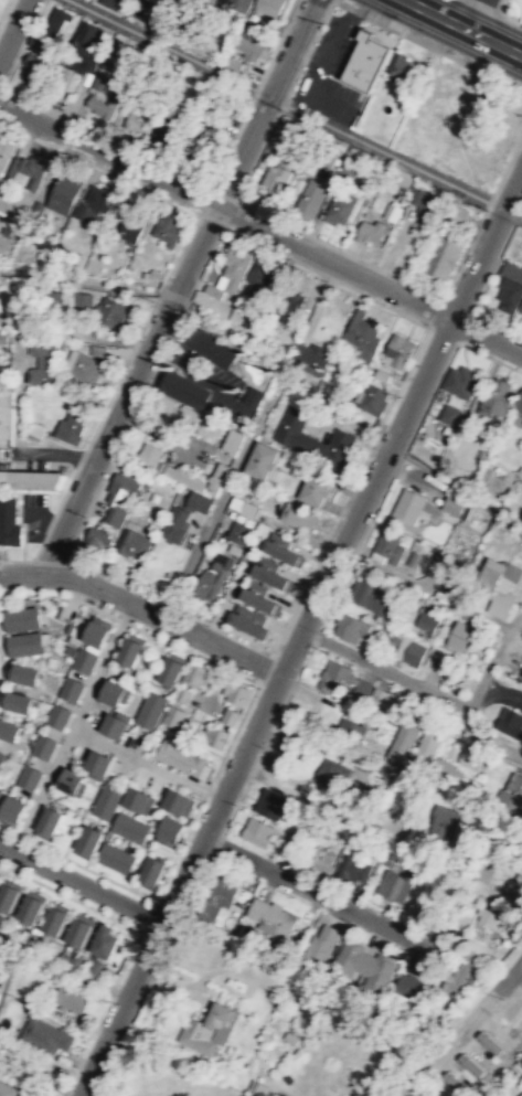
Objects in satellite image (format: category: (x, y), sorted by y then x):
building: (111, 3)
building: (241, 3)
building: (139, 6)
building: (269, 6)
road: (489, 8)
road: (502, 8)
road: (462, 11)
road: (483, 15)
building: (56, 20)
road: (513, 20)
road: (465, 26)
road: (13, 29)
building: (88, 31)
building: (38, 42)
building: (249, 47)
street lamp: (455, 53)
building: (367, 60)
building: (82, 61)
building: (234, 63)
building: (400, 65)
building: (35, 66)
building: (100, 81)
building: (104, 103)
road: (286, 104)
building: (139, 119)
building: (168, 131)
building: (202, 146)
building: (4, 151)
building: (33, 169)
building: (275, 179)
road: (512, 188)
building: (65, 191)
building: (312, 196)
building: (94, 203)
building: (424, 203)
building: (341, 208)
building: (391, 211)
road: (512, 213)
building: (132, 225)
building: (168, 227)
road: (260, 228)
building: (369, 230)
building: (440, 254)
building: (230, 274)
building: (260, 276)
road: (177, 286)
building: (508, 294)
building: (84, 299)
building: (288, 304)
building: (520, 308)
building: (111, 313)
building: (362, 340)
building: (212, 349)
building: (97, 350)
building: (397, 350)
building: (42, 362)
building: (313, 362)
building: (82, 368)
building: (381, 374)
building: (460, 381)
building: (184, 392)
building: (496, 395)
building: (371, 398)
building: (519, 404)
building: (449, 414)
building: (7, 415)
building: (70, 428)
building: (209, 429)
road: (18, 434)
building: (313, 438)
road: (391, 441)
building: (230, 444)
building: (148, 456)
building: (260, 462)
building: (29, 478)
building: (199, 479)
street lamp: (358, 482)
building: (318, 486)
building: (118, 501)
building: (196, 503)
building: (451, 504)
building: (408, 506)
building: (242, 507)
building: (298, 515)
building: (8, 522)
building: (174, 525)
building: (237, 533)
building: (94, 540)
building: (385, 541)
building: (132, 545)
building: (284, 552)
road: (391, 572)
building: (271, 576)
building: (211, 581)
building: (497, 588)
building: (362, 590)
building: (258, 598)
building: (386, 603)
road: (143, 608)
road: (481, 617)
building: (21, 618)
building: (427, 618)
building: (251, 619)
building: (350, 627)
building: (97, 632)
building: (460, 636)
building: (24, 643)
building: (131, 650)
building: (413, 652)
building: (83, 660)
building: (172, 670)
building: (199, 673)
building: (22, 674)
building: (333, 674)
building: (361, 687)
street lamp: (259, 688)
building: (70, 689)
building: (114, 691)
building: (237, 691)
road: (437, 692)
building: (183, 693)
building: (383, 698)
building: (15, 702)
building: (151, 709)
building: (231, 715)
building: (57, 716)
building: (177, 716)
building: (370, 721)
building: (116, 724)
building: (509, 724)
road: (71, 725)
building: (349, 728)
building: (372, 730)
building: (9, 731)
building: (216, 735)
building: (401, 739)
building: (42, 747)
building: (422, 752)
building: (181, 757)
building: (1, 758)
building: (469, 758)
road: (146, 762)
building: (96, 764)
building: (440, 770)
building: (327, 774)
building: (26, 777)
building: (70, 783)
building: (0, 791)
building: (512, 794)
building: (138, 801)
building: (106, 802)
building: (178, 802)
building: (269, 802)
building: (11, 811)
building: (445, 818)
building: (47, 823)
building: (129, 828)
building: (169, 831)
building: (256, 831)
building: (88, 842)
building: (116, 858)
building: (521, 858)
building: (319, 859)
building: (351, 868)
building: (151, 872)
building: (0, 877)
road: (79, 881)
road: (178, 885)
building: (392, 886)
building: (513, 887)
building: (222, 890)
road: (311, 890)
building: (9, 897)
building: (32, 908)
building: (209, 912)
building: (269, 916)
building: (489, 916)
building: (56, 921)
building: (2, 922)
building: (81, 932)
building: (107, 941)
building: (320, 944)
building: (75, 958)
building: (465, 965)
building: (362, 966)
building: (94, 968)
road: (515, 977)
building: (406, 989)
building: (70, 999)
road: (461, 1025)
building: (207, 1031)
building: (45, 1036)
building: (42, 1077)
building: (8, 1089)
building: (259, 1090)
building: (520, 1094)

